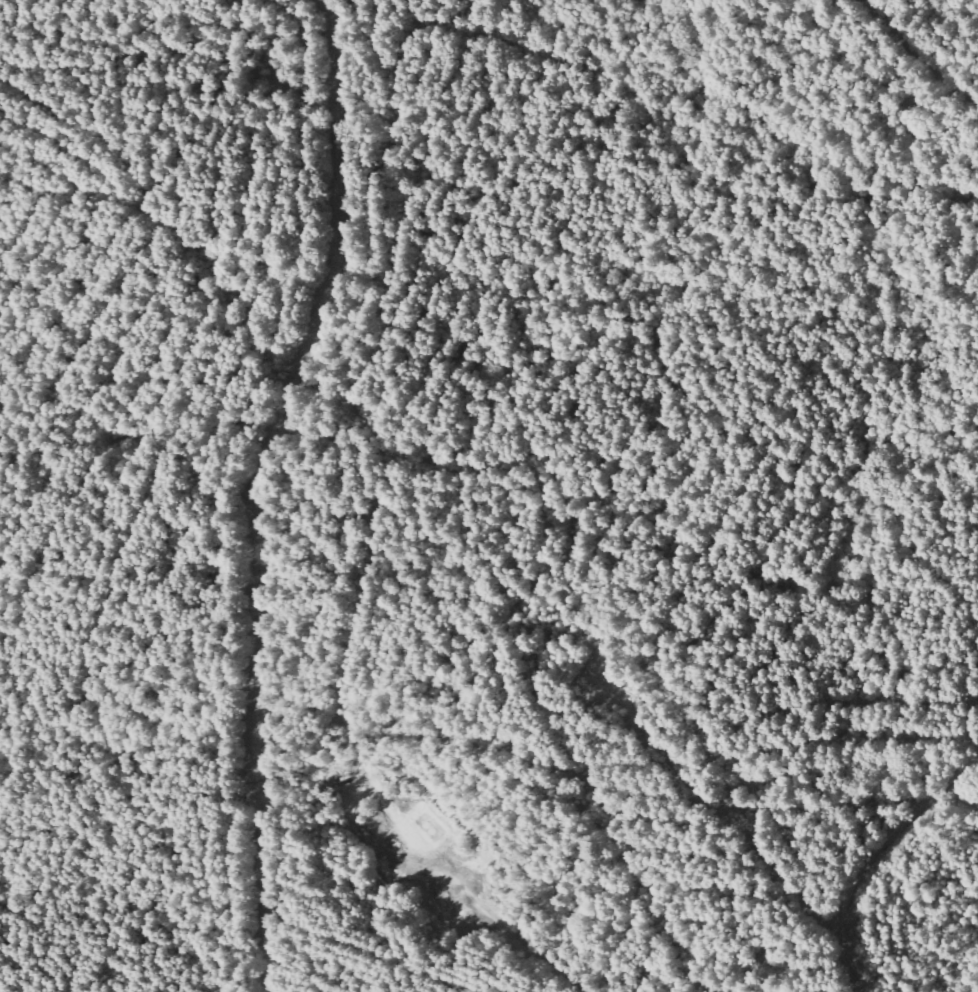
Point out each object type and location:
road: (355, 800)
road: (504, 928)

